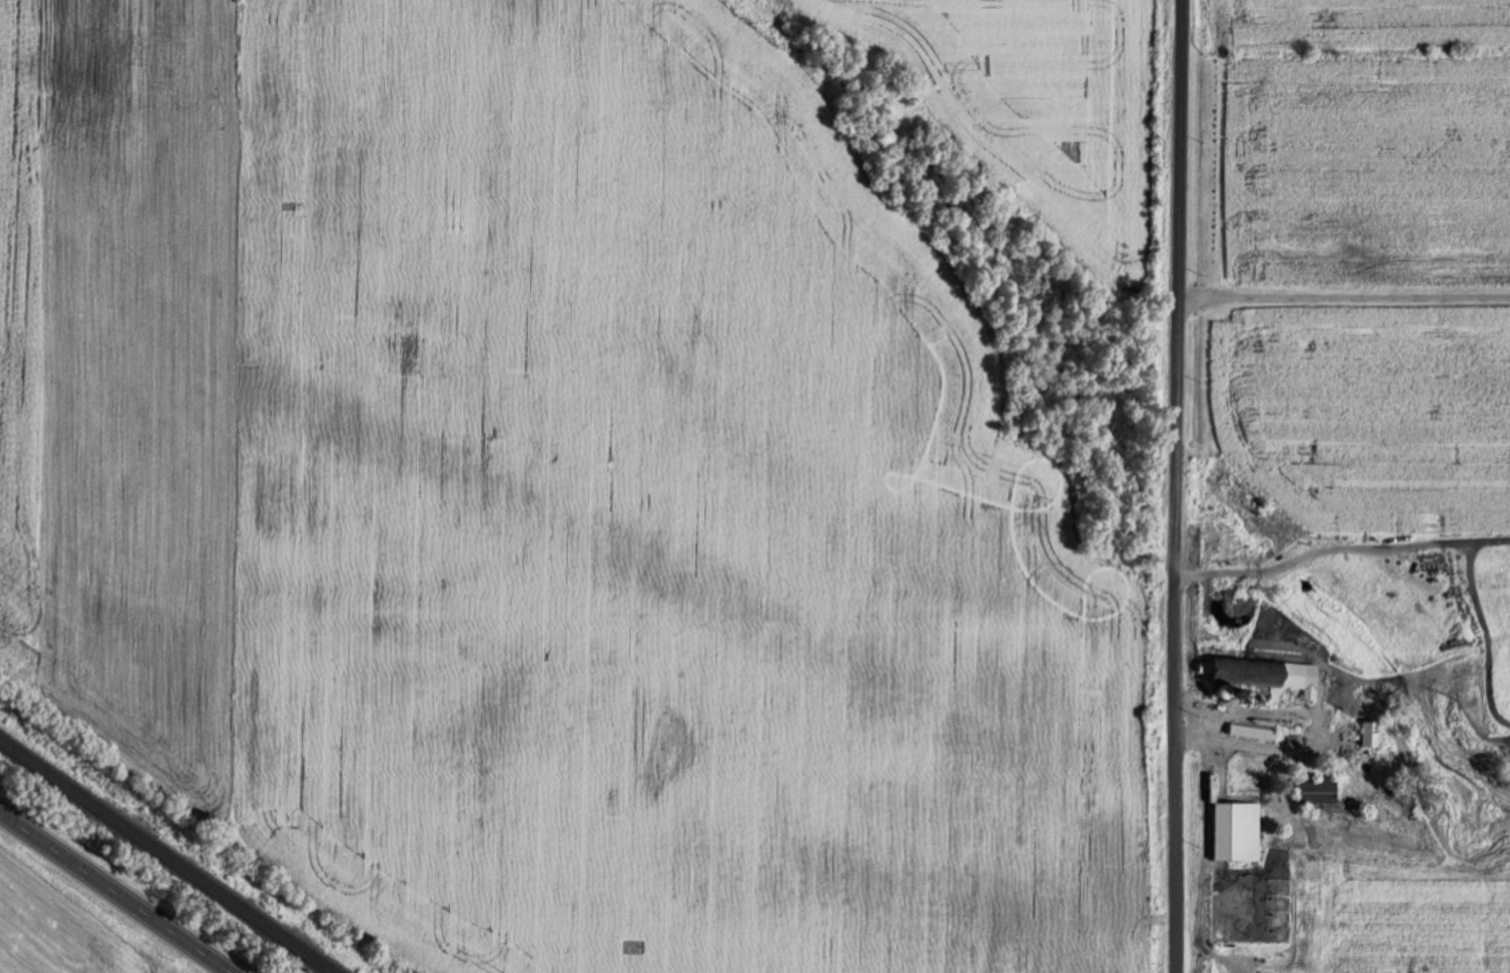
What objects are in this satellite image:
road: (1341, 294)
road: (1174, 486)
building: (1200, 619)
building: (1263, 679)
building: (1370, 735)
building: (1355, 775)
building: (1316, 793)
building: (1229, 832)
railway: (166, 857)
road: (117, 891)

